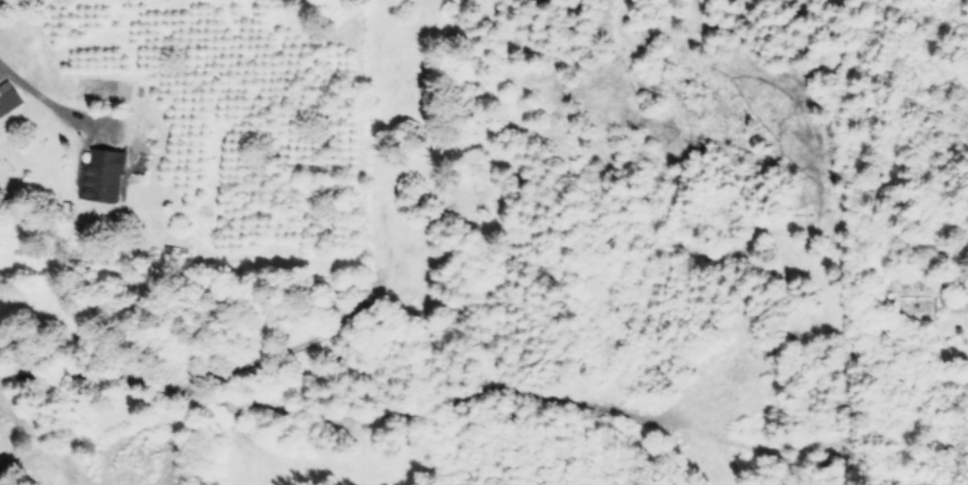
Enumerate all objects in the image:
building: (7, 97)
road: (60, 105)
building: (100, 174)
road: (4, 378)
road: (521, 384)

